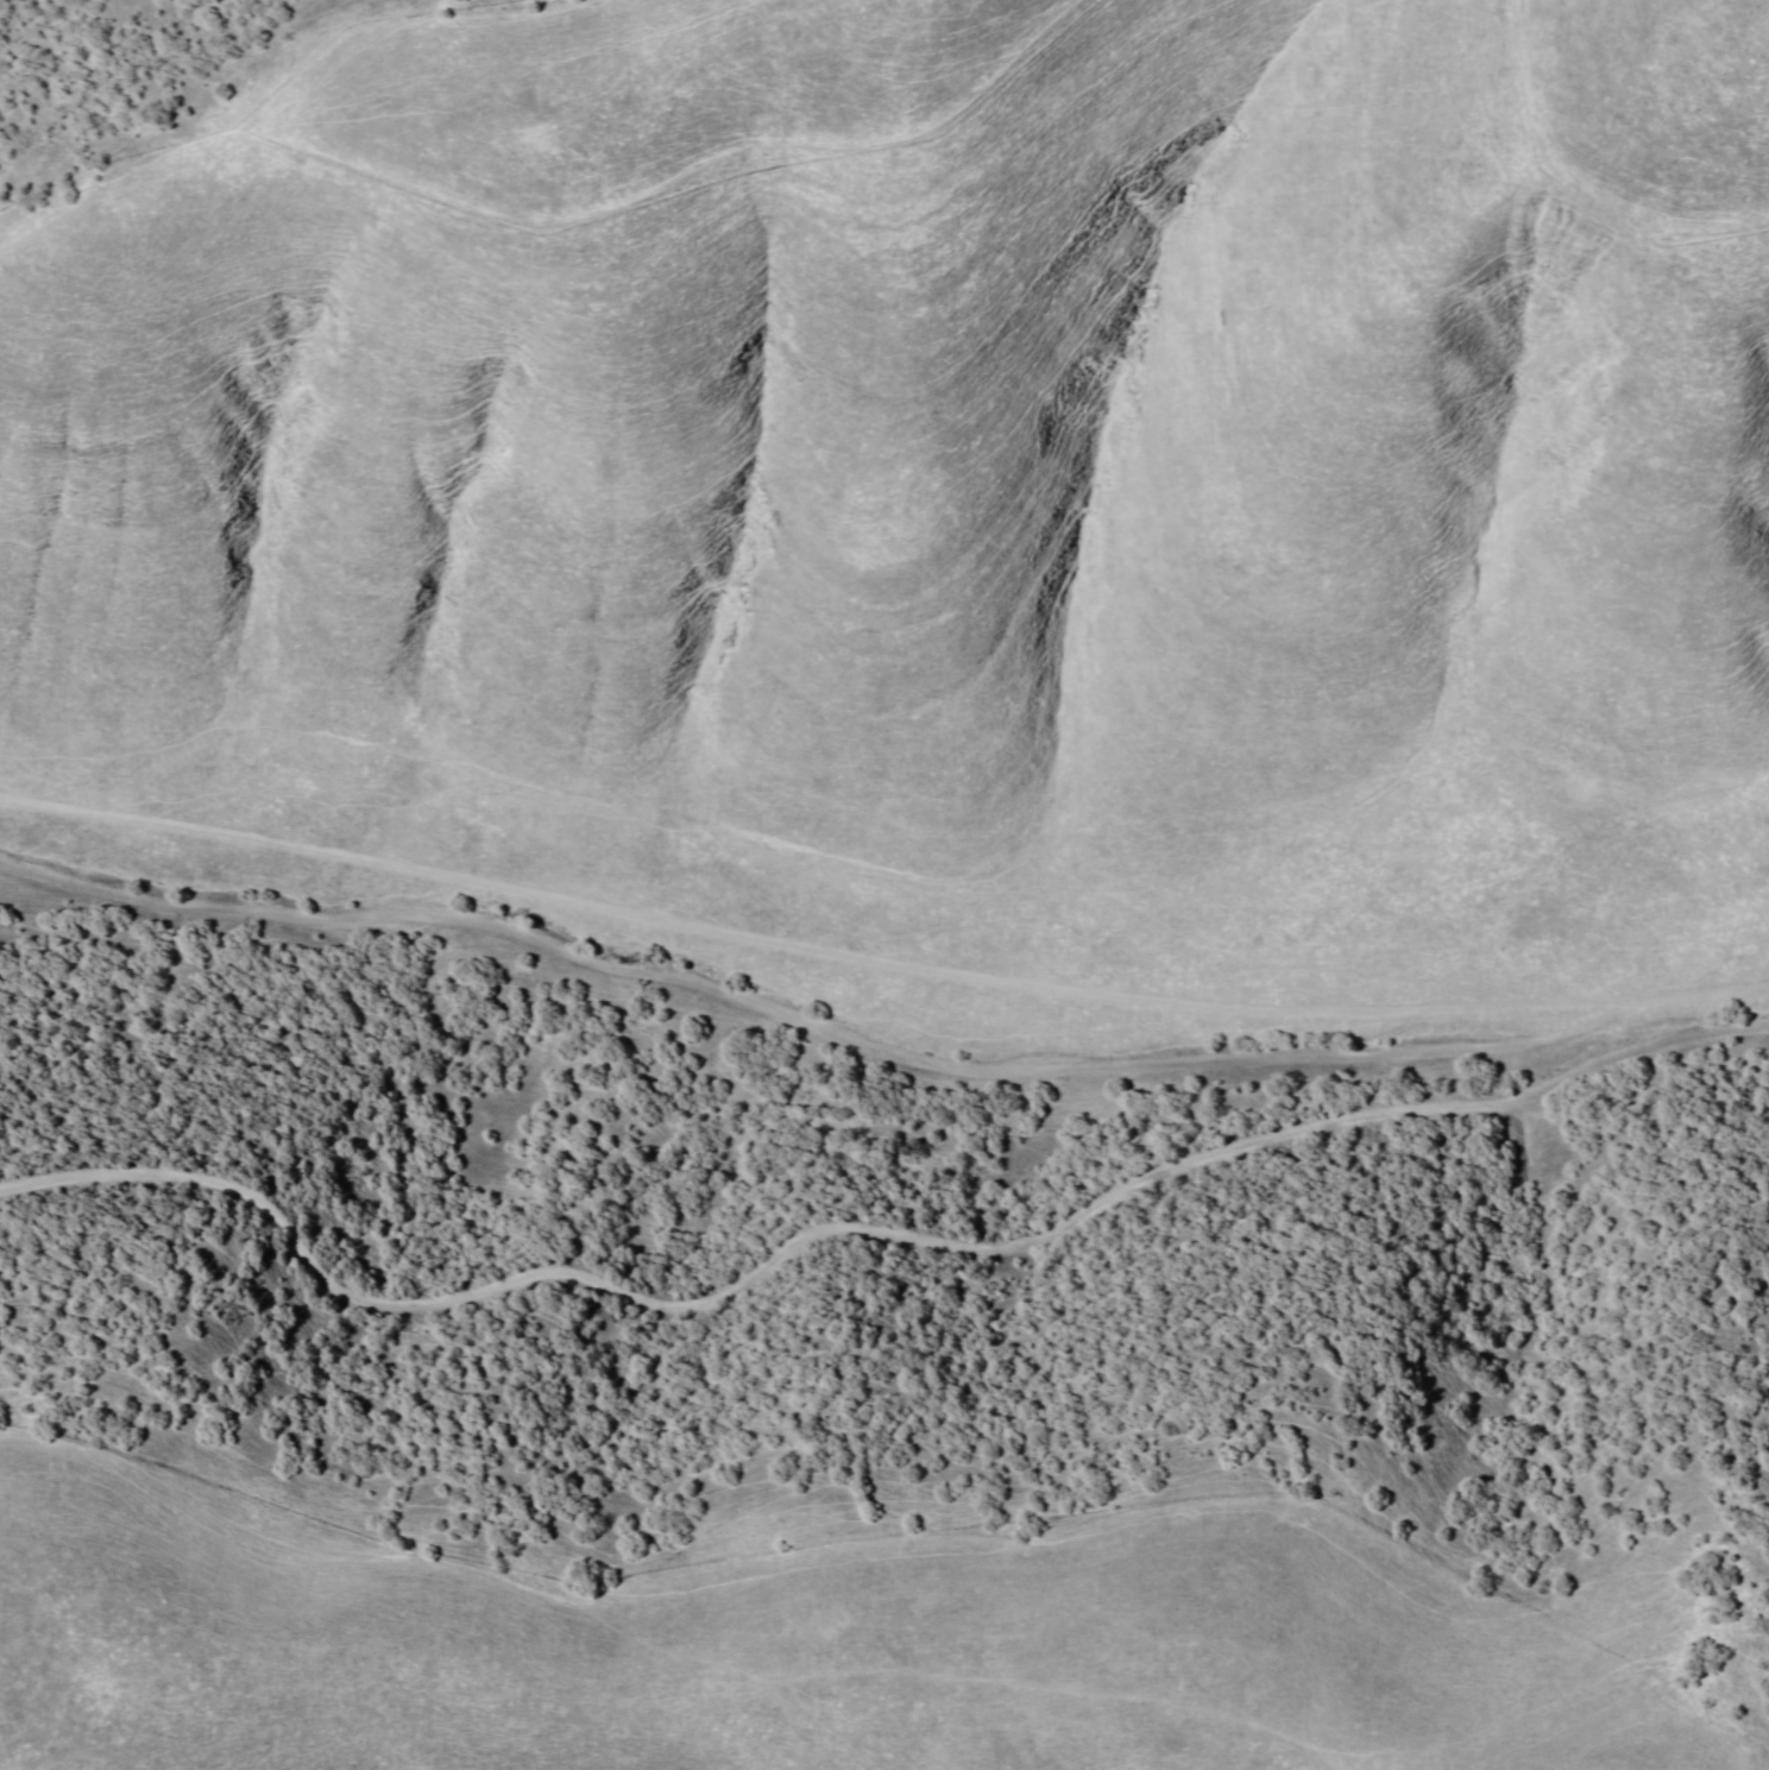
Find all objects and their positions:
road: (882, 1053)
road: (881, 1259)

